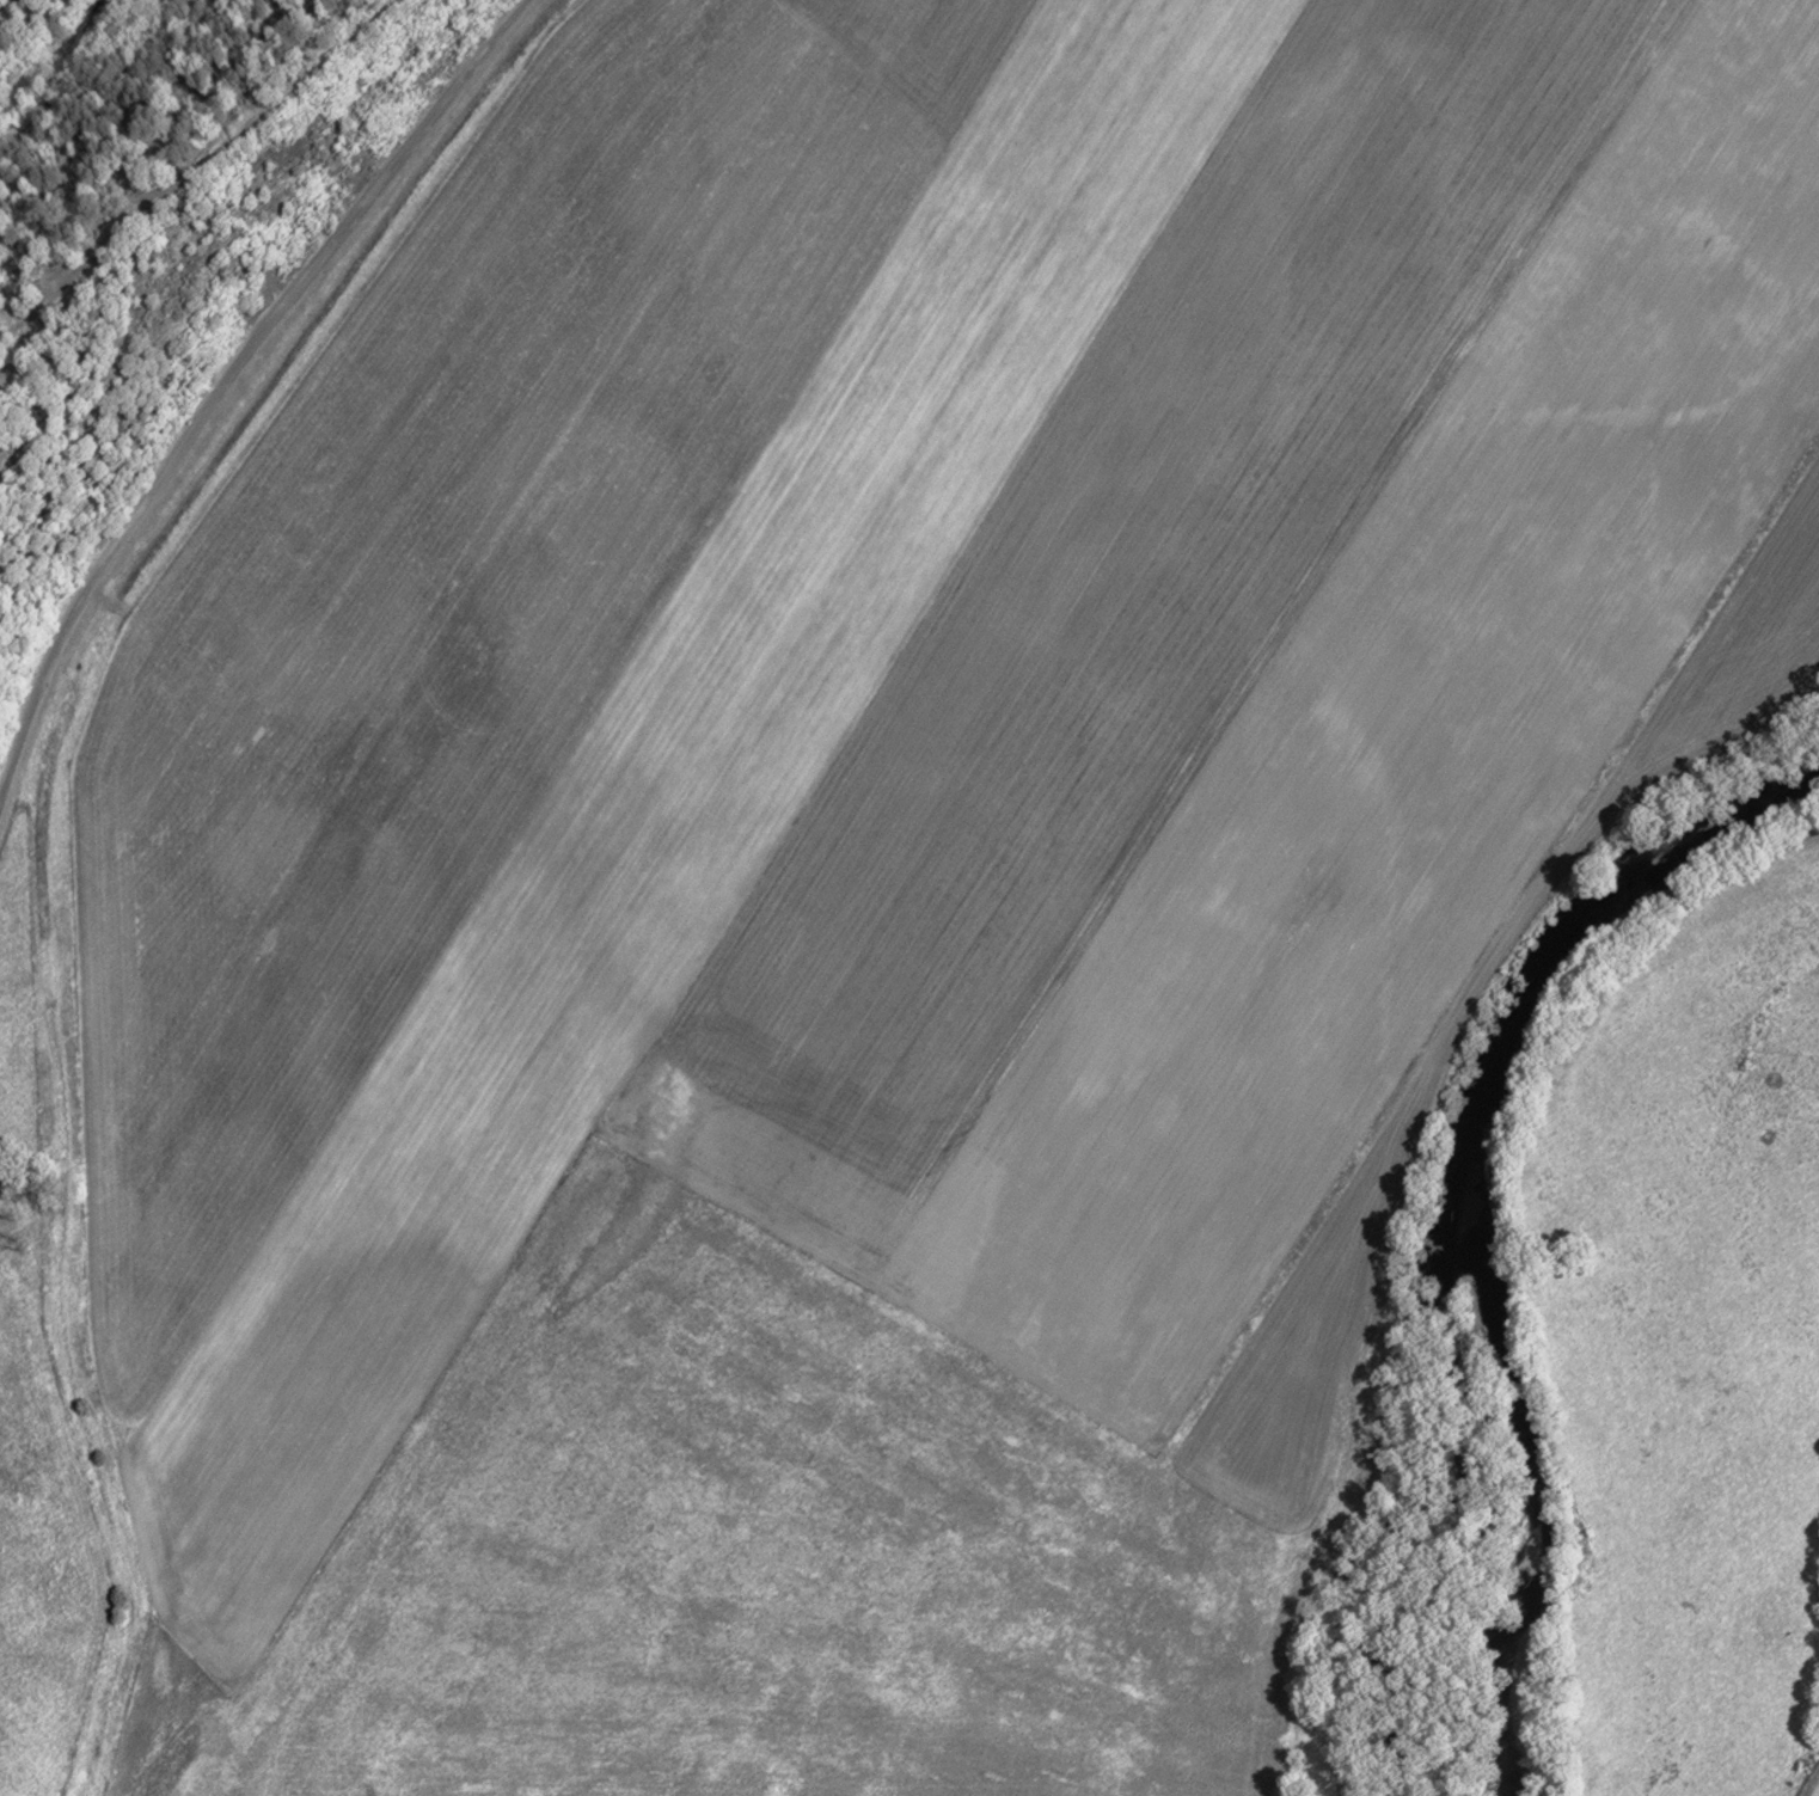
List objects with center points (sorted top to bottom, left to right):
river: (1462, 1207)

